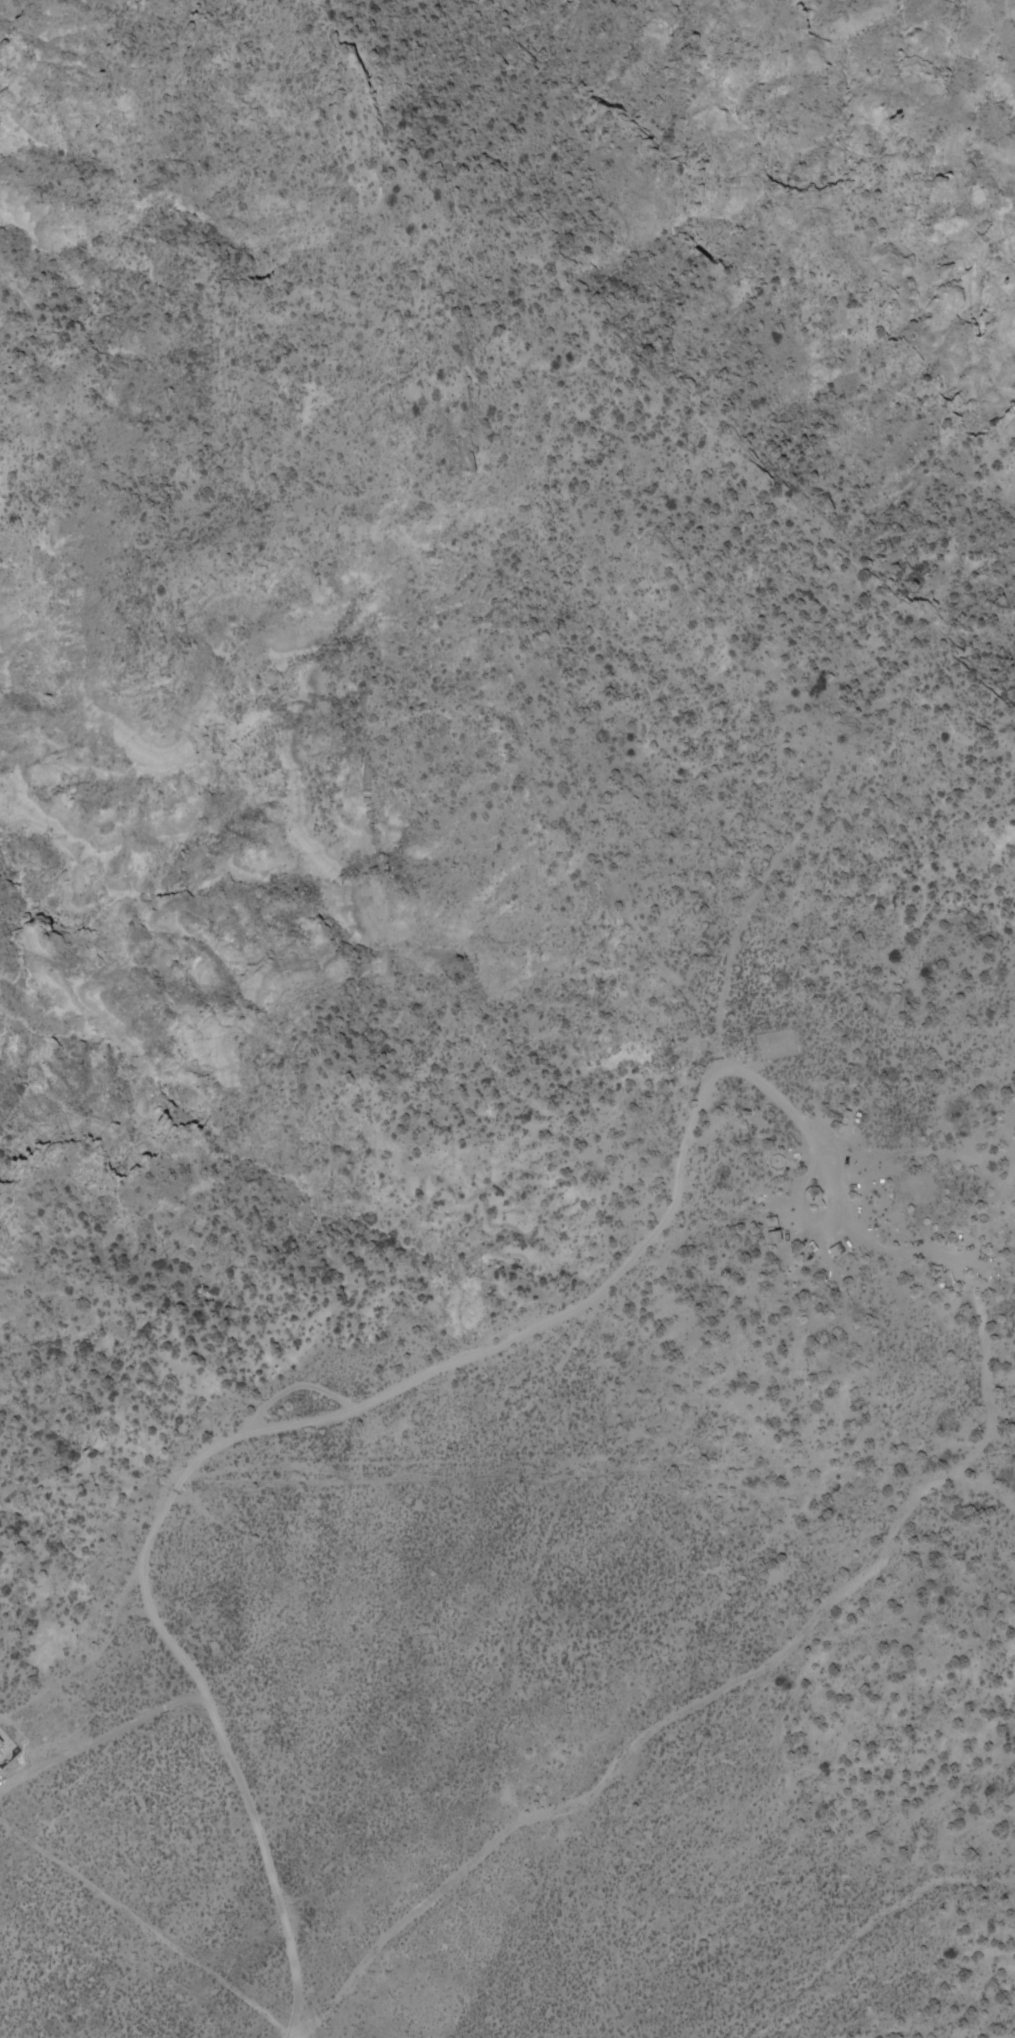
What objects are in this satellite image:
building: (814, 1194)
road: (513, 1333)
building: (2, 1740)

